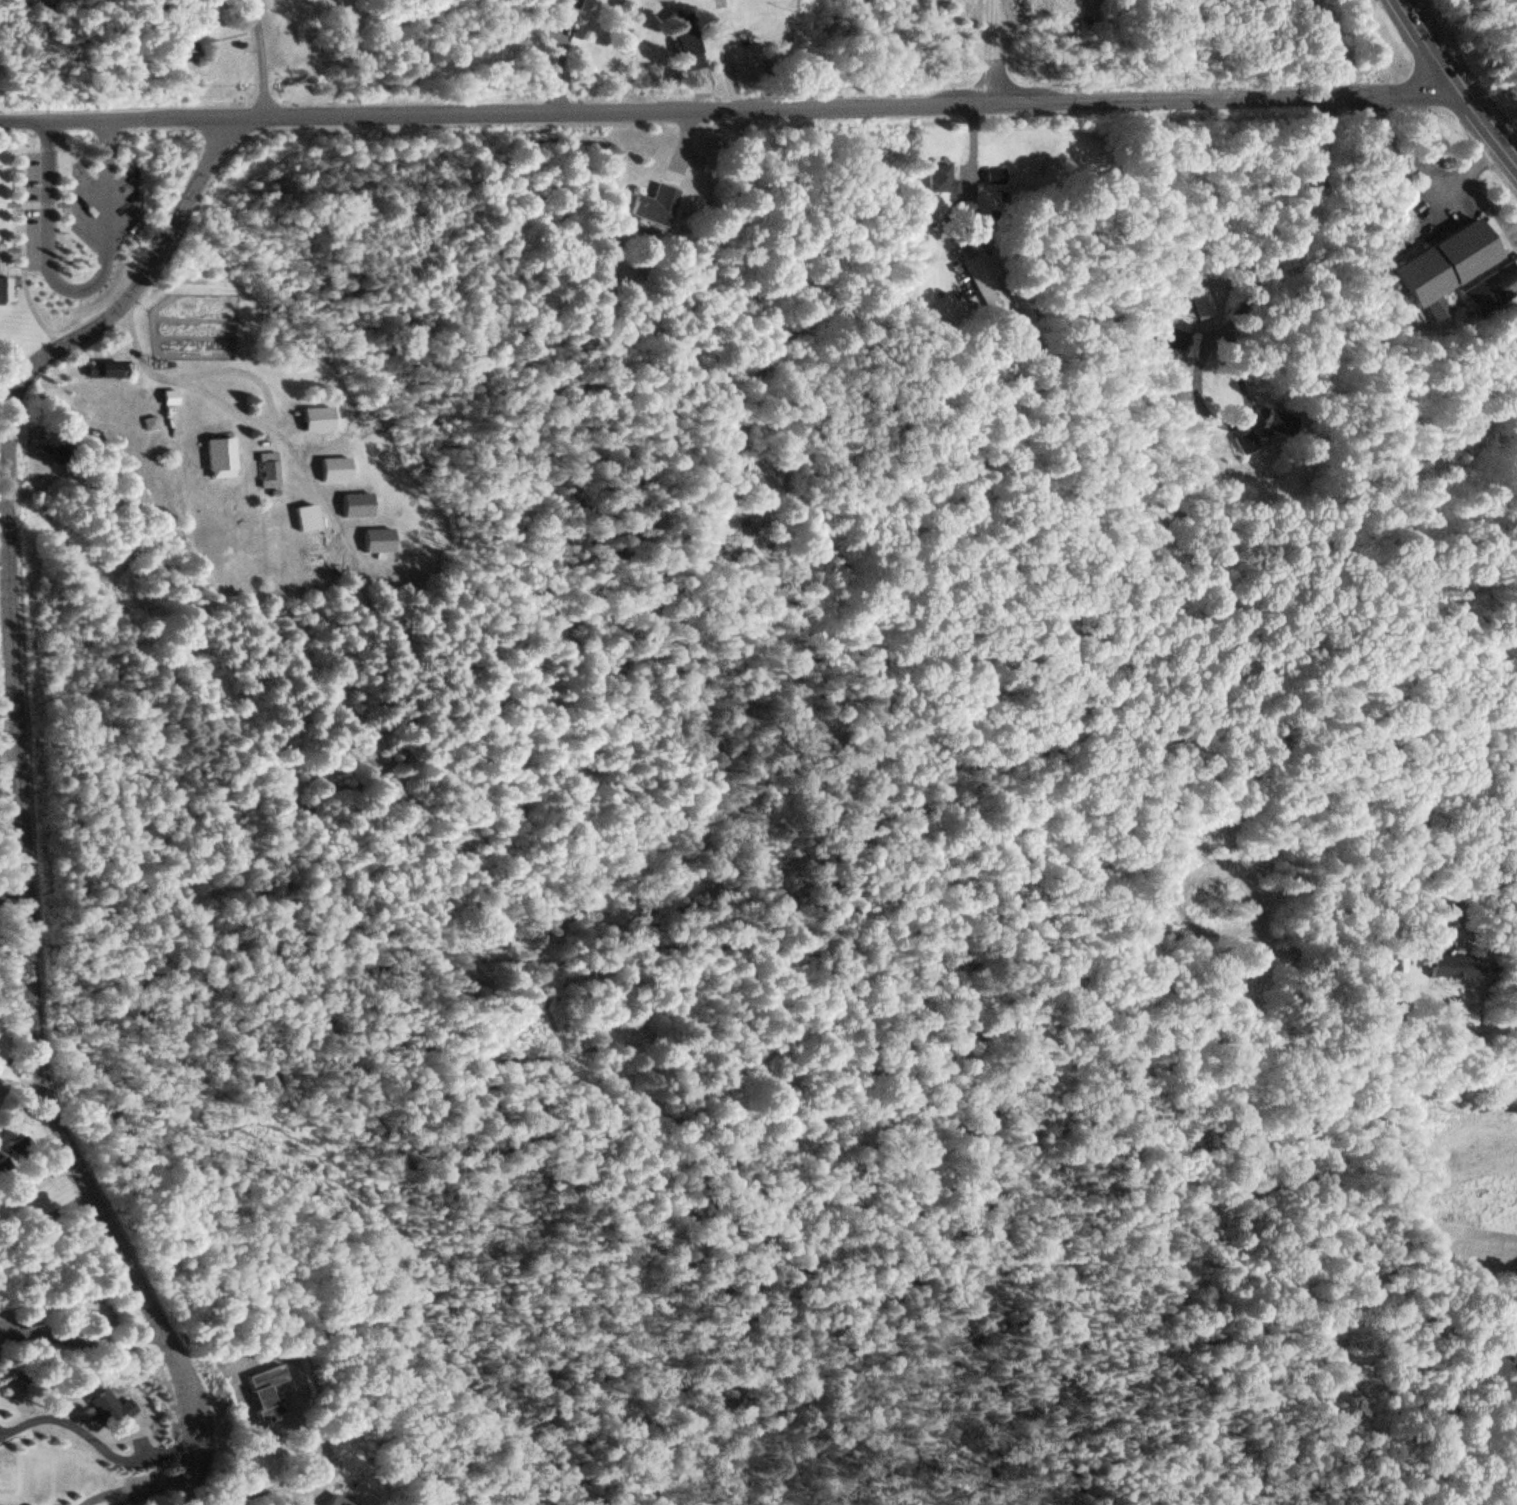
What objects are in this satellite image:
building: (572, 4)
road: (261, 56)
road: (1455, 83)
road: (727, 104)
road: (60, 144)
building: (992, 174)
building: (938, 176)
road: (38, 202)
building: (653, 205)
road: (22, 234)
road: (11, 247)
park: (14, 254)
building: (1447, 263)
road: (24, 270)
building: (985, 284)
building: (1494, 285)
road: (75, 286)
building: (5, 289)
building: (105, 369)
building: (168, 398)
building: (316, 418)
building: (1276, 421)
building: (1241, 443)
building: (52, 445)
building: (219, 453)
building: (334, 468)
building: (266, 469)
road: (0, 490)
building: (353, 504)
building: (306, 516)
building: (375, 539)
road: (12, 745)
building: (1449, 962)
building: (1470, 1022)
building: (1514, 1355)
building: (119, 1414)
building: (335, 1501)

